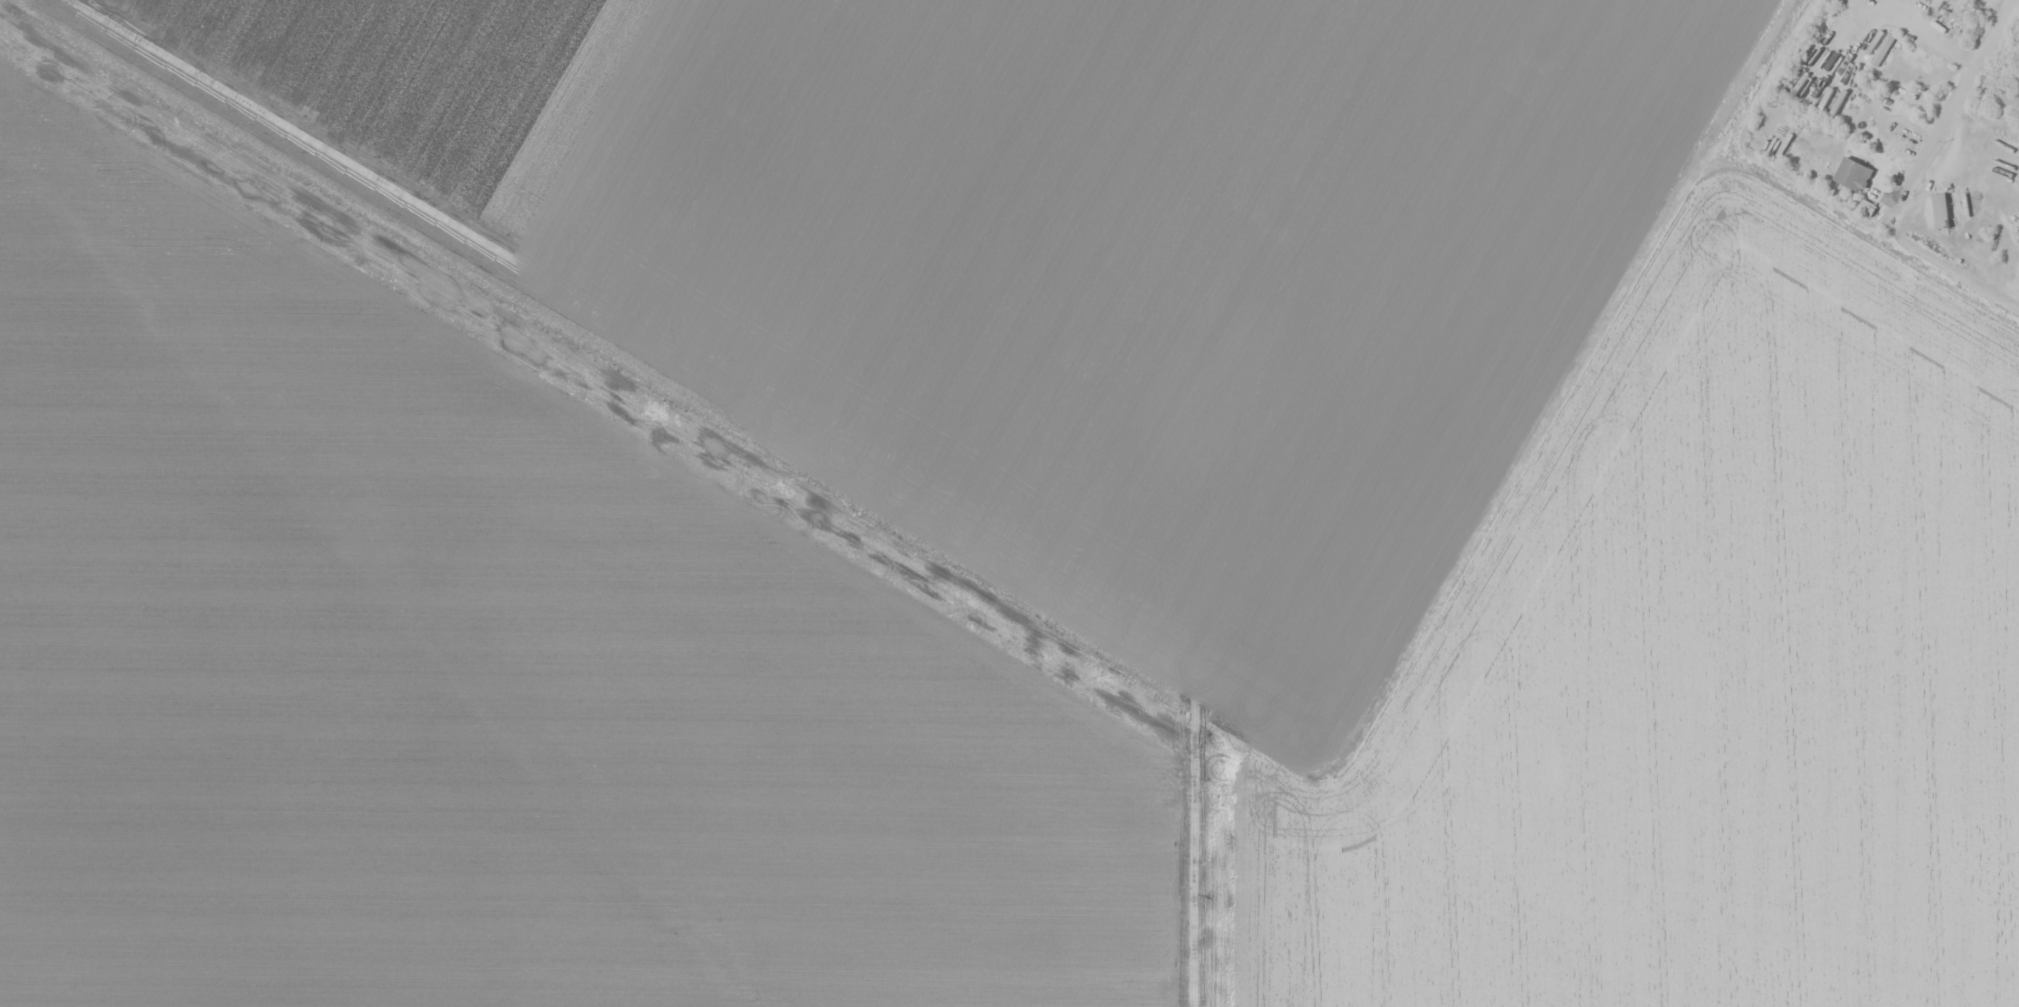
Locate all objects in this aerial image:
building: (1943, 12)
road: (1956, 110)
building: (1852, 174)
building: (1939, 210)

